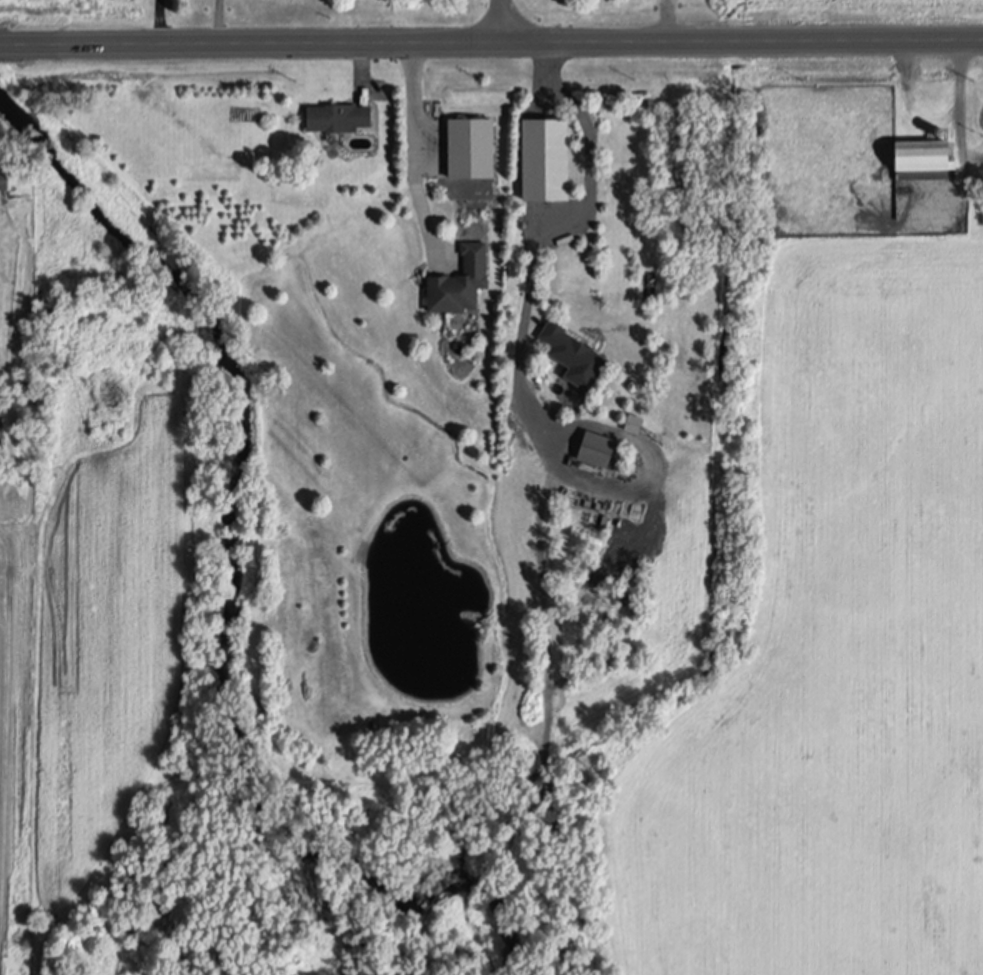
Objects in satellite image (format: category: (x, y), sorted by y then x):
road: (501, 19)
road: (170, 21)
road: (491, 39)
road: (962, 94)
building: (337, 116)
building: (939, 129)
road: (424, 143)
building: (470, 145)
building: (922, 156)
building: (268, 175)
building: (293, 176)
building: (4, 178)
road: (554, 223)
building: (459, 280)
building: (574, 353)
building: (596, 447)
building: (596, 503)
crop: (838, 658)

